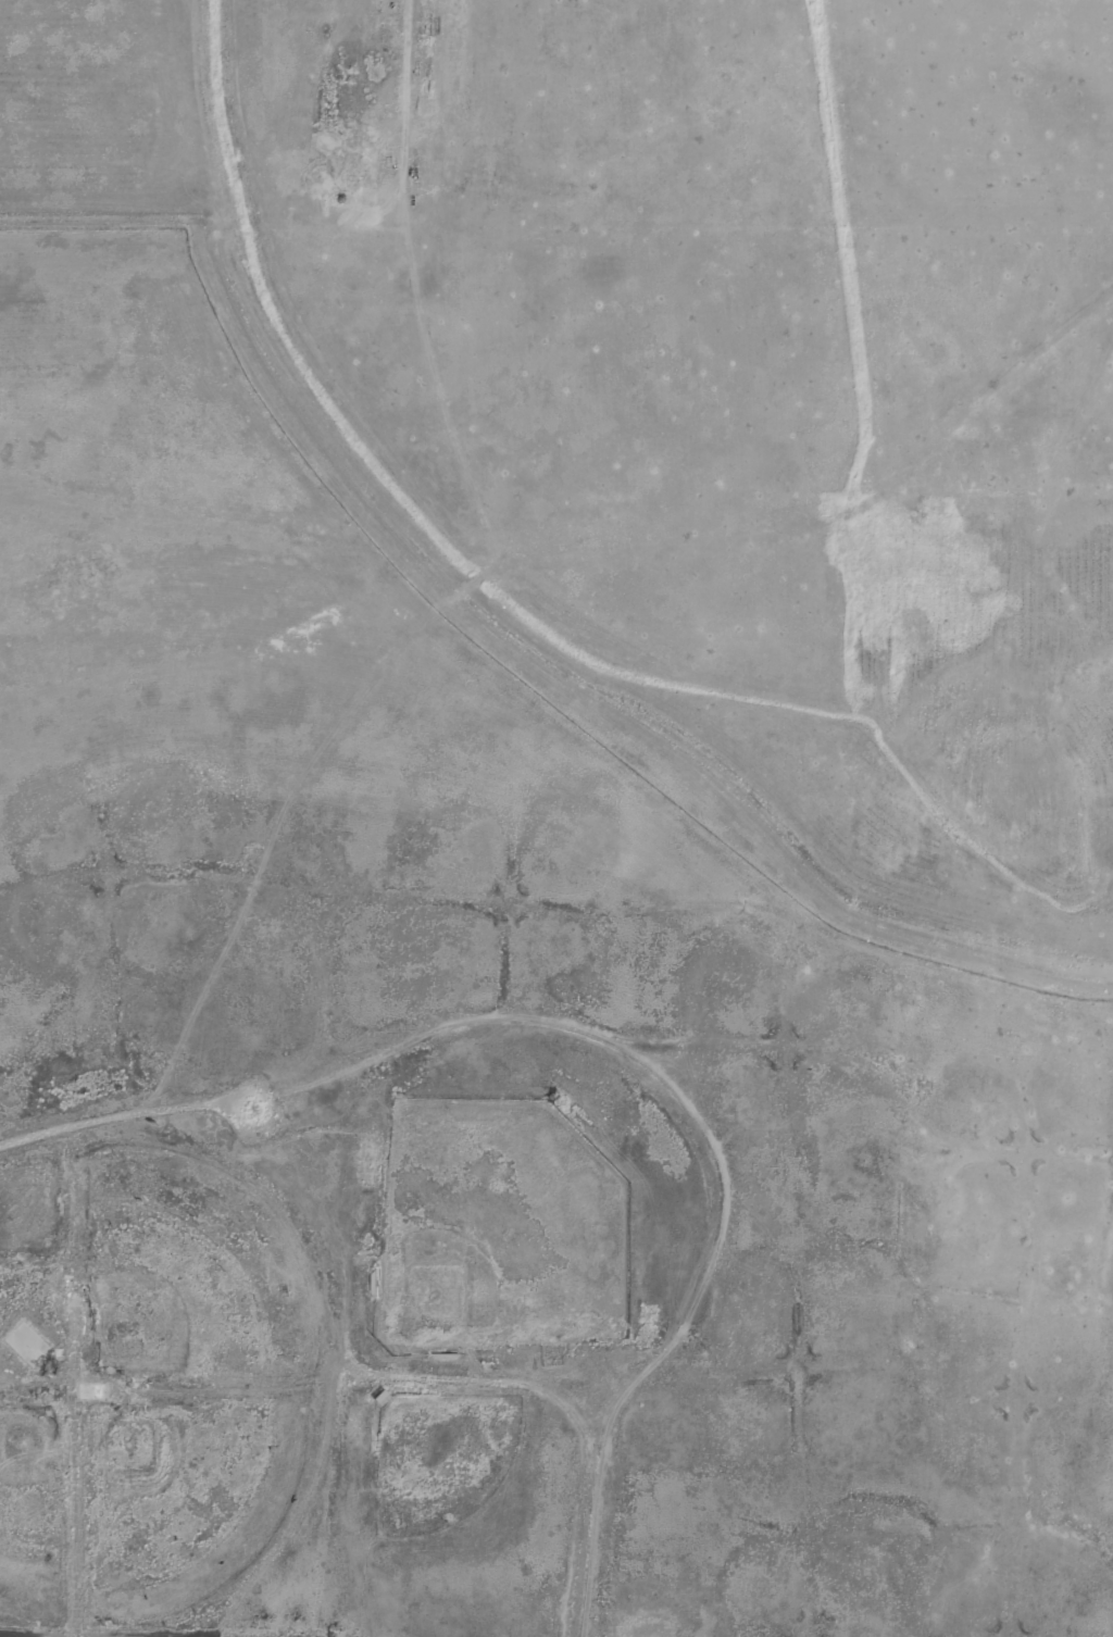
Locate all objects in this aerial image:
building: (75, 1301)
building: (91, 1392)

